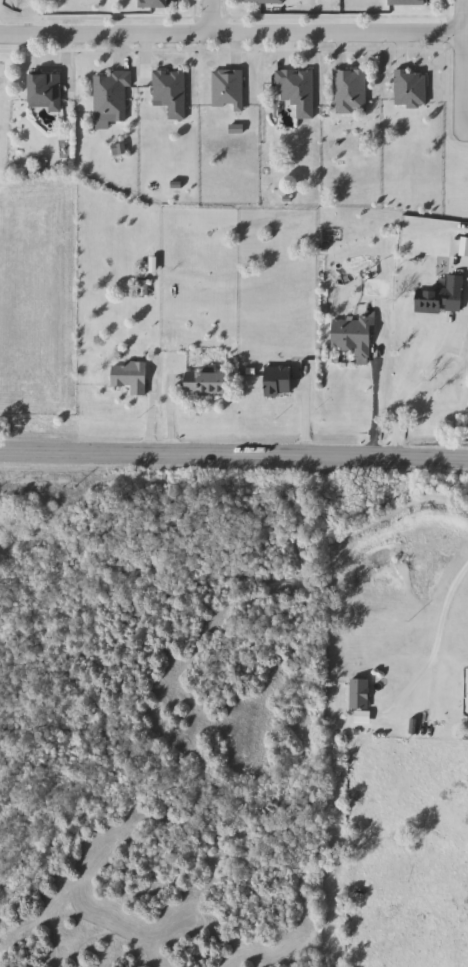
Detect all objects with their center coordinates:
building: (265, 2)
building: (407, 3)
building: (157, 4)
road: (208, 17)
road: (230, 34)
road: (461, 67)
building: (226, 90)
building: (409, 90)
building: (44, 91)
building: (295, 92)
building: (349, 93)
building: (169, 94)
building: (110, 96)
road: (465, 134)
building: (441, 299)
building: (352, 337)
building: (129, 378)
building: (278, 382)
building: (206, 385)
road: (401, 393)
road: (372, 414)
road: (233, 458)
road: (438, 625)
building: (358, 694)
building: (357, 730)

